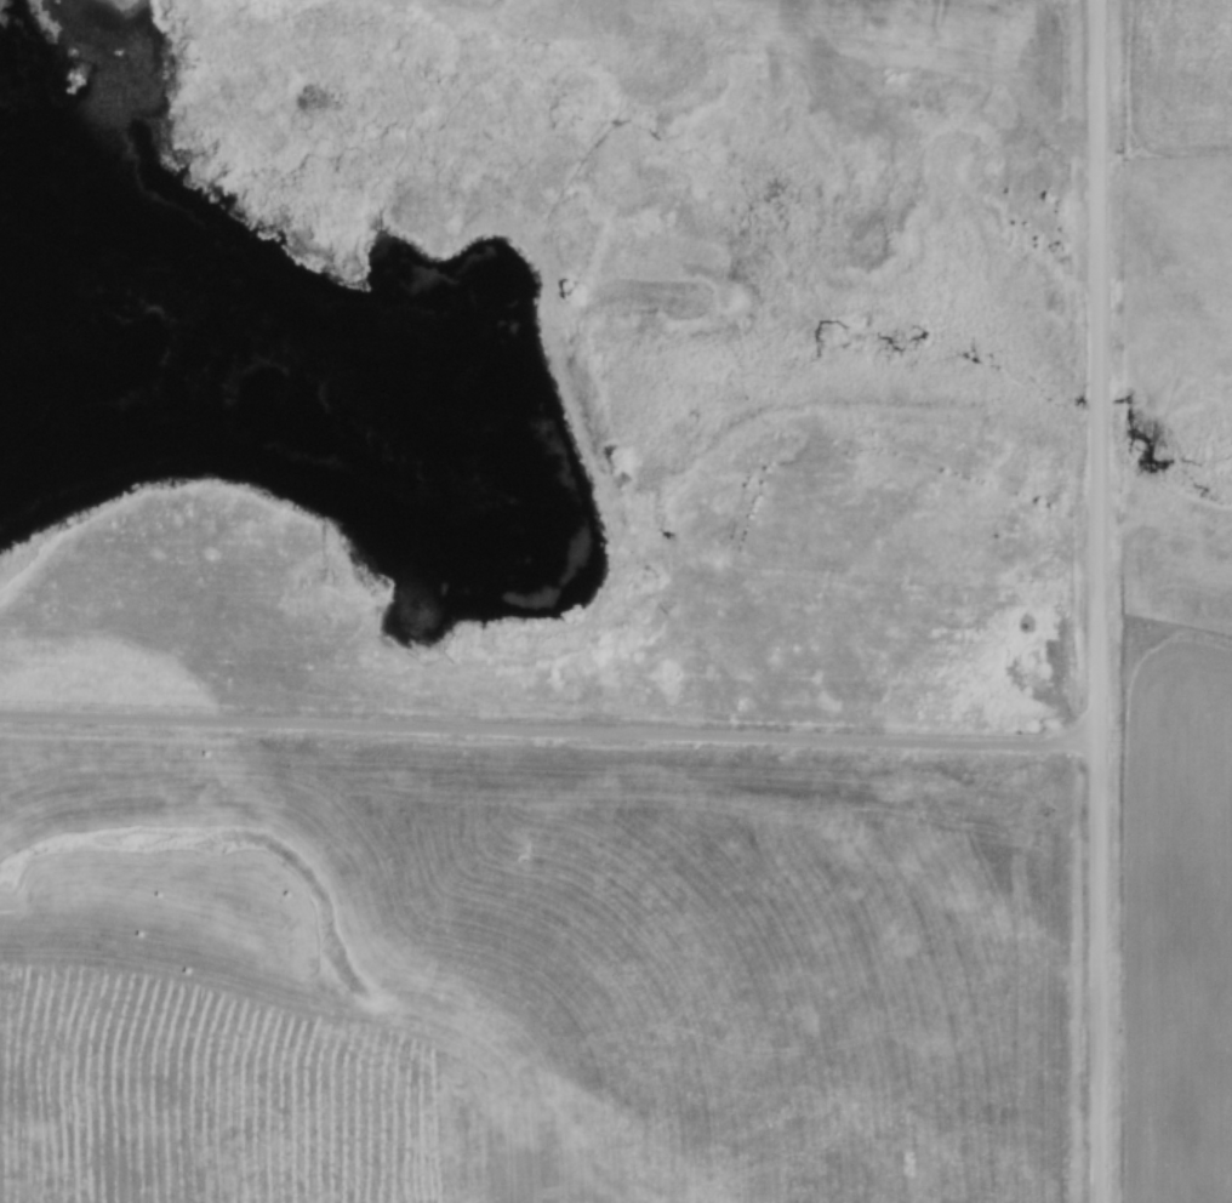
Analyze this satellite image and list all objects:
road: (1100, 600)
road: (551, 728)
building: (785, 905)

